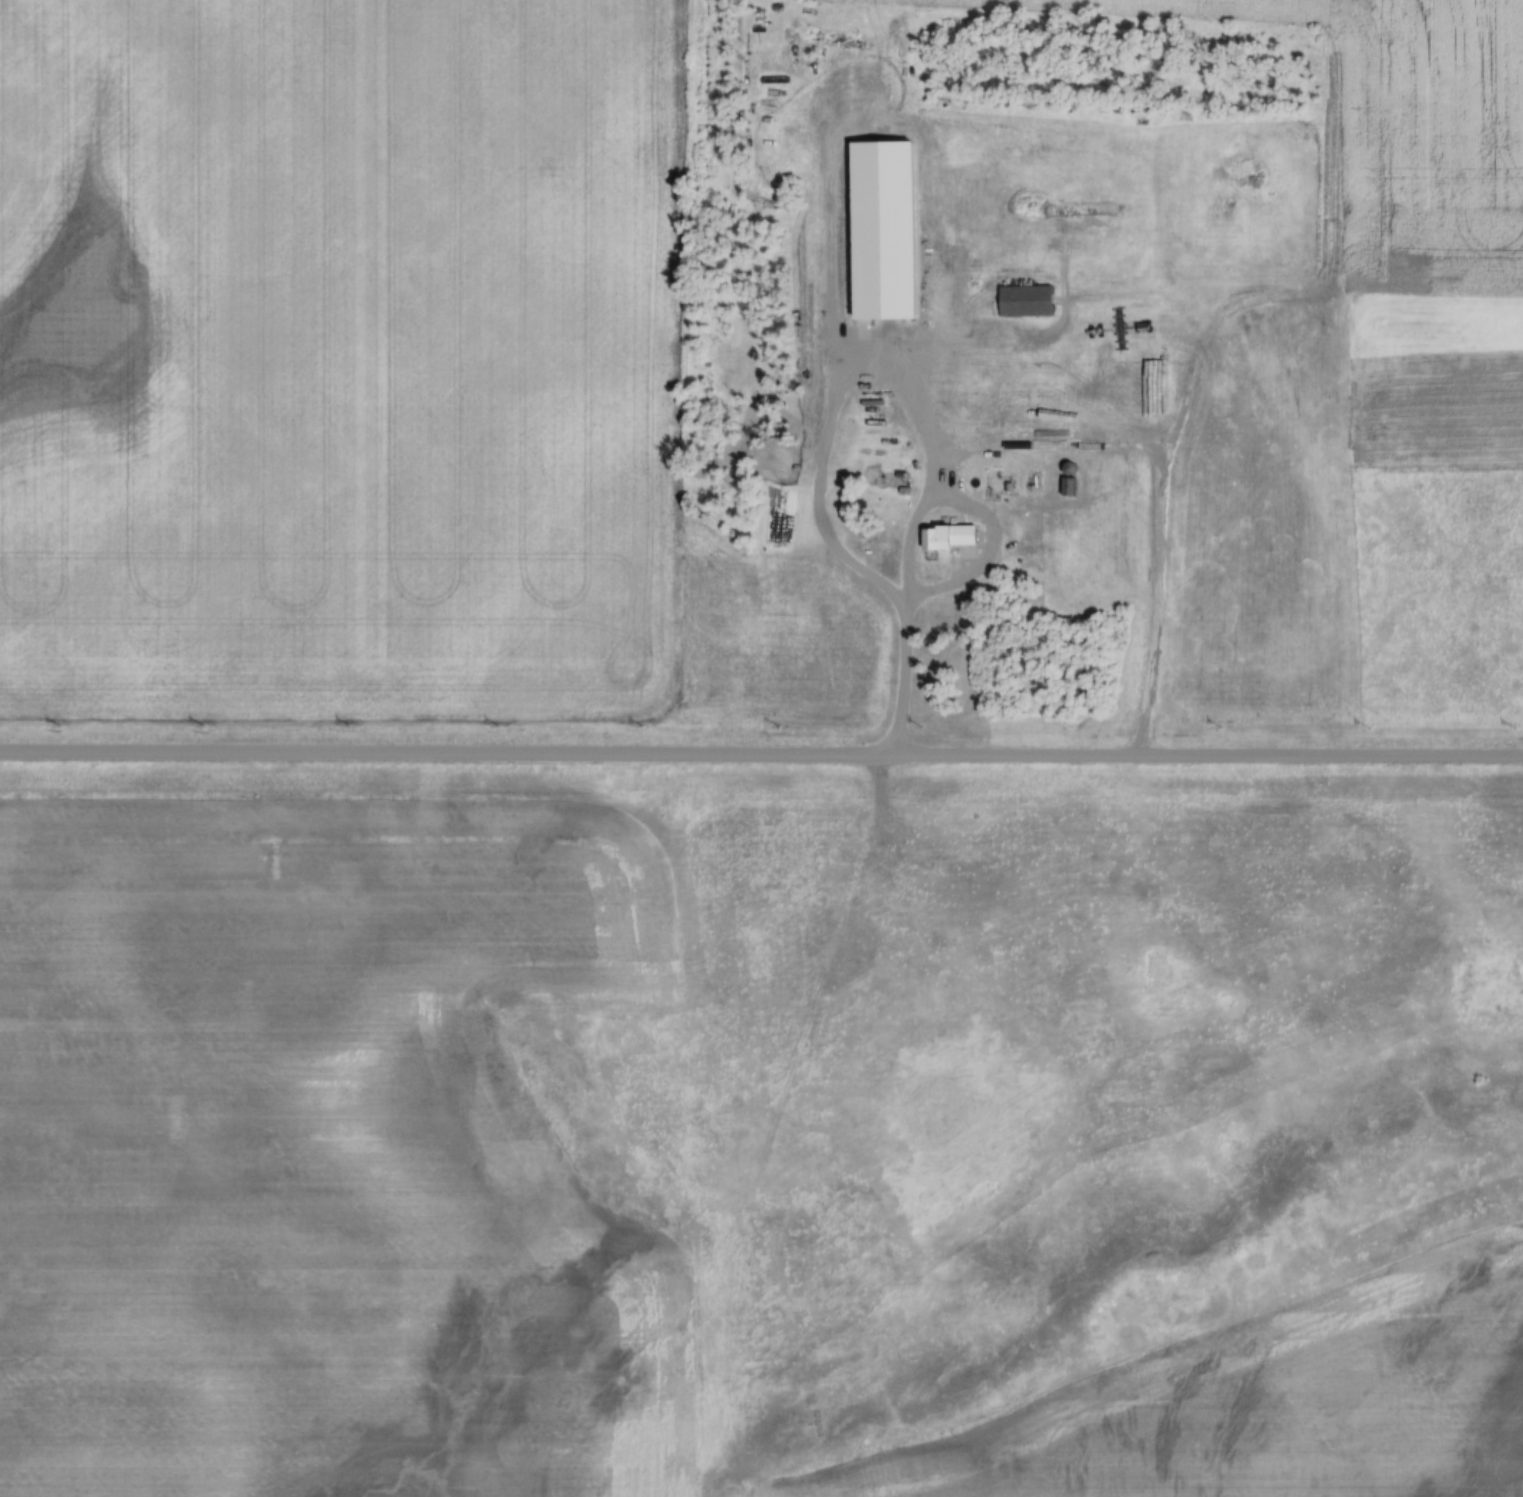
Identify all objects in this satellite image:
building: (1027, 303)
building: (1069, 469)
building: (999, 482)
building: (1068, 487)
building: (951, 536)
road: (761, 755)

